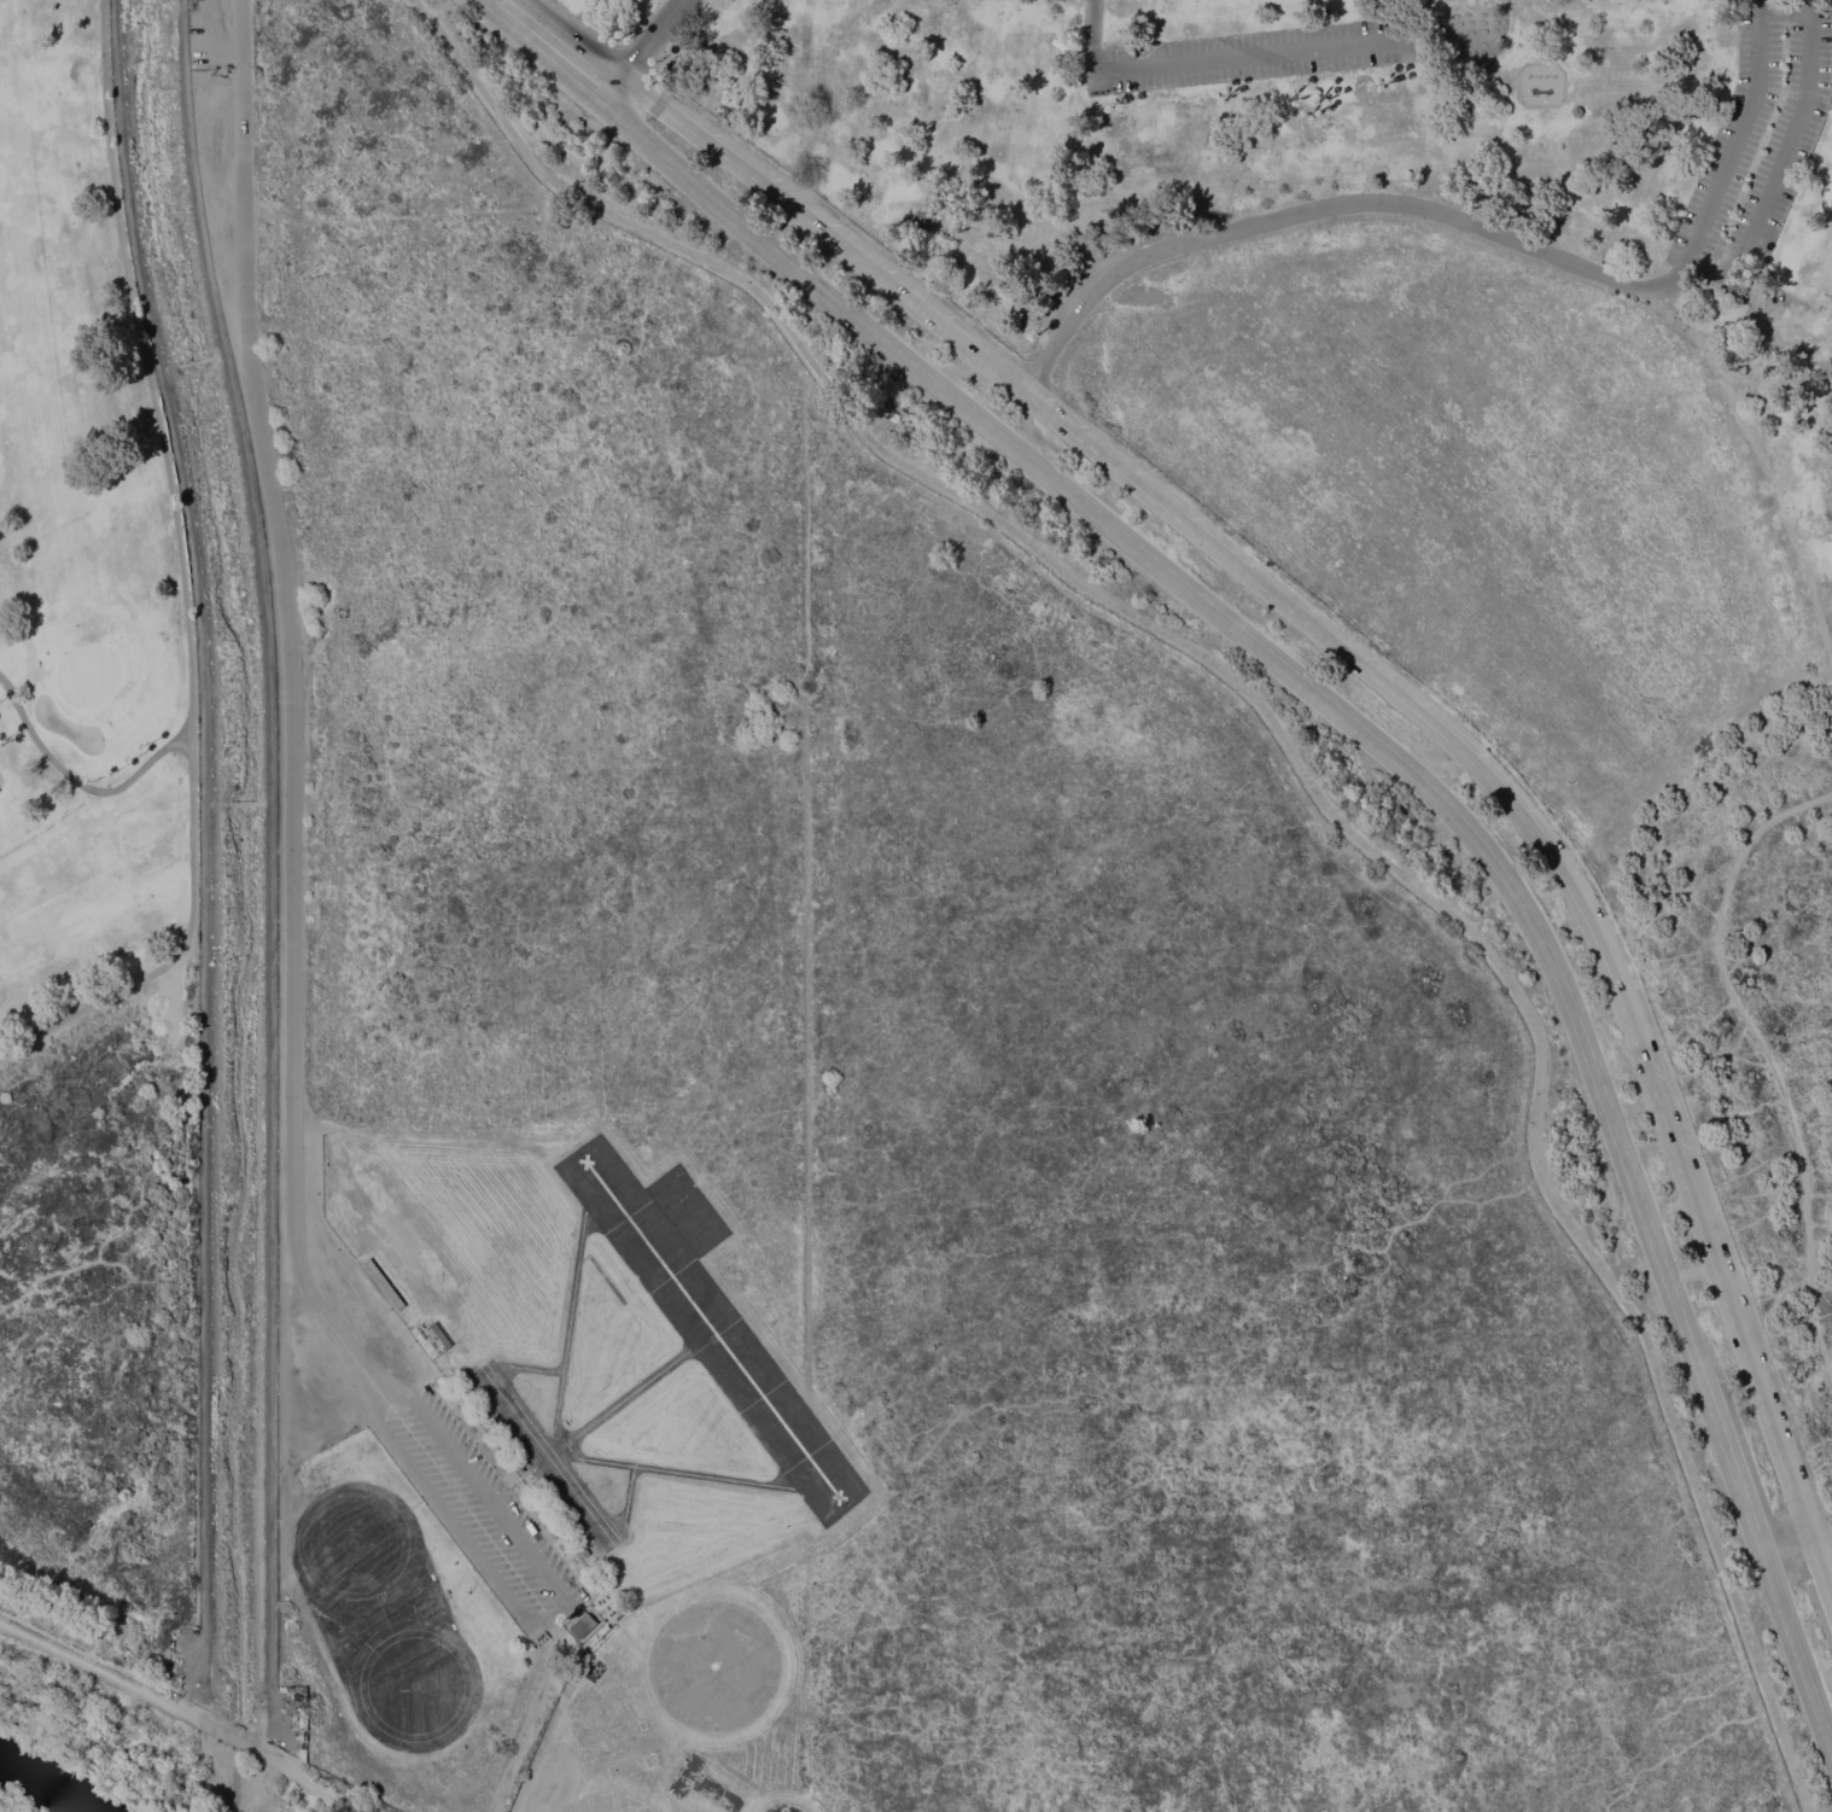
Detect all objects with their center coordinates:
parking lot: (212, 33)
road: (642, 49)
parking lot: (1254, 54)
road: (1236, 57)
parking lot: (1758, 151)
road: (1779, 162)
building: (923, 217)
road: (1470, 223)
park: (1381, 291)
road: (1758, 466)
park: (83, 561)
road: (183, 576)
road: (1334, 639)
road: (288, 692)
road: (1366, 729)
road: (1300, 768)
road: (77, 781)
road: (204, 852)
road: (272, 880)
road: (805, 891)
park: (916, 905)
road: (1769, 1058)
airport apron: (676, 1218)
airport taxiway: (570, 1299)
airport runway: (710, 1327)
building: (437, 1338)
airport taxiway: (527, 1367)
road: (386, 1383)
airport taxiway: (637, 1387)
road: (372, 1394)
road: (1743, 1444)
airport apron: (547, 1461)
building: (503, 1467)
airport taxiway: (704, 1475)
airport taxiway: (626, 1492)
road: (488, 1503)
parking lot: (480, 1515)
road: (457, 1525)
road: (1821, 1531)
road: (1741, 1549)
road: (1821, 1565)
road: (1809, 1587)
road: (550, 1618)
building: (582, 1625)
helipad: (713, 1666)
road: (180, 1708)
river: (47, 1785)

